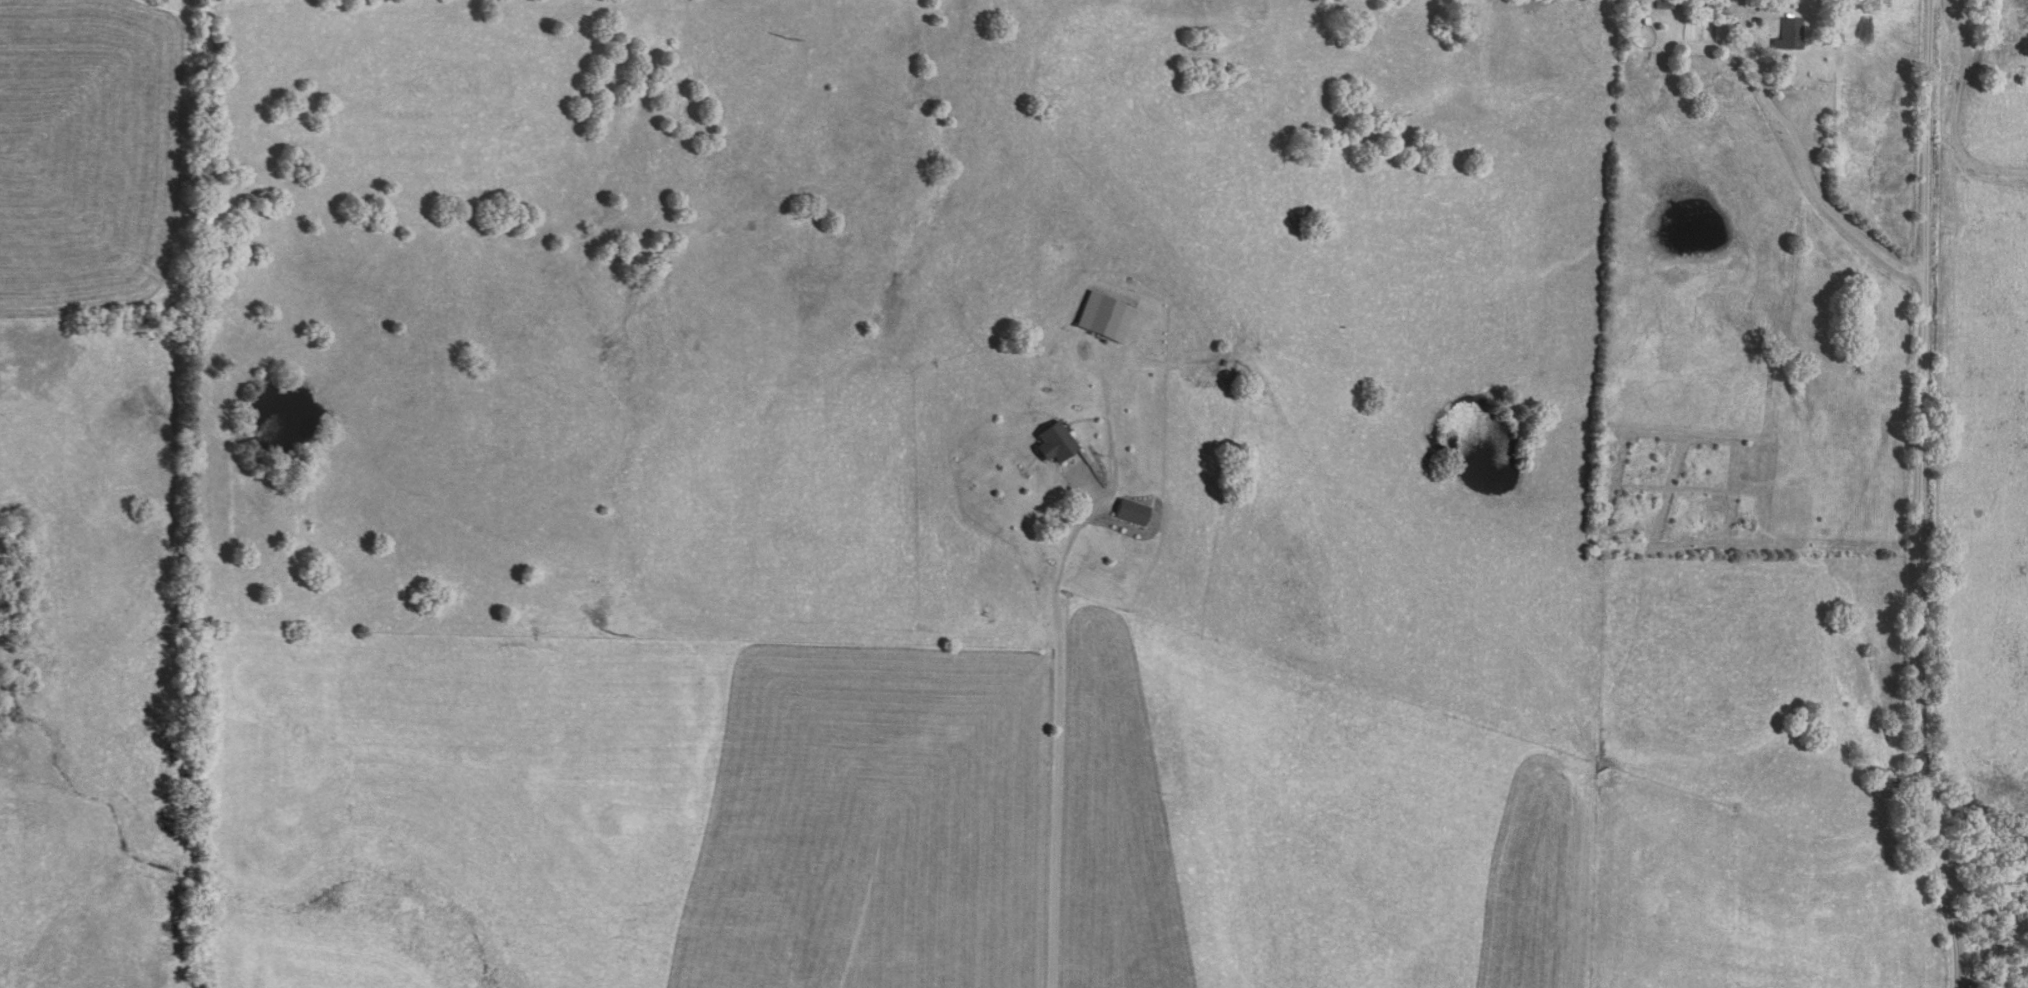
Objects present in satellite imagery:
building: (1789, 33)
building: (1104, 315)
building: (1052, 441)
road: (1925, 495)
building: (1129, 510)
road: (1975, 776)

